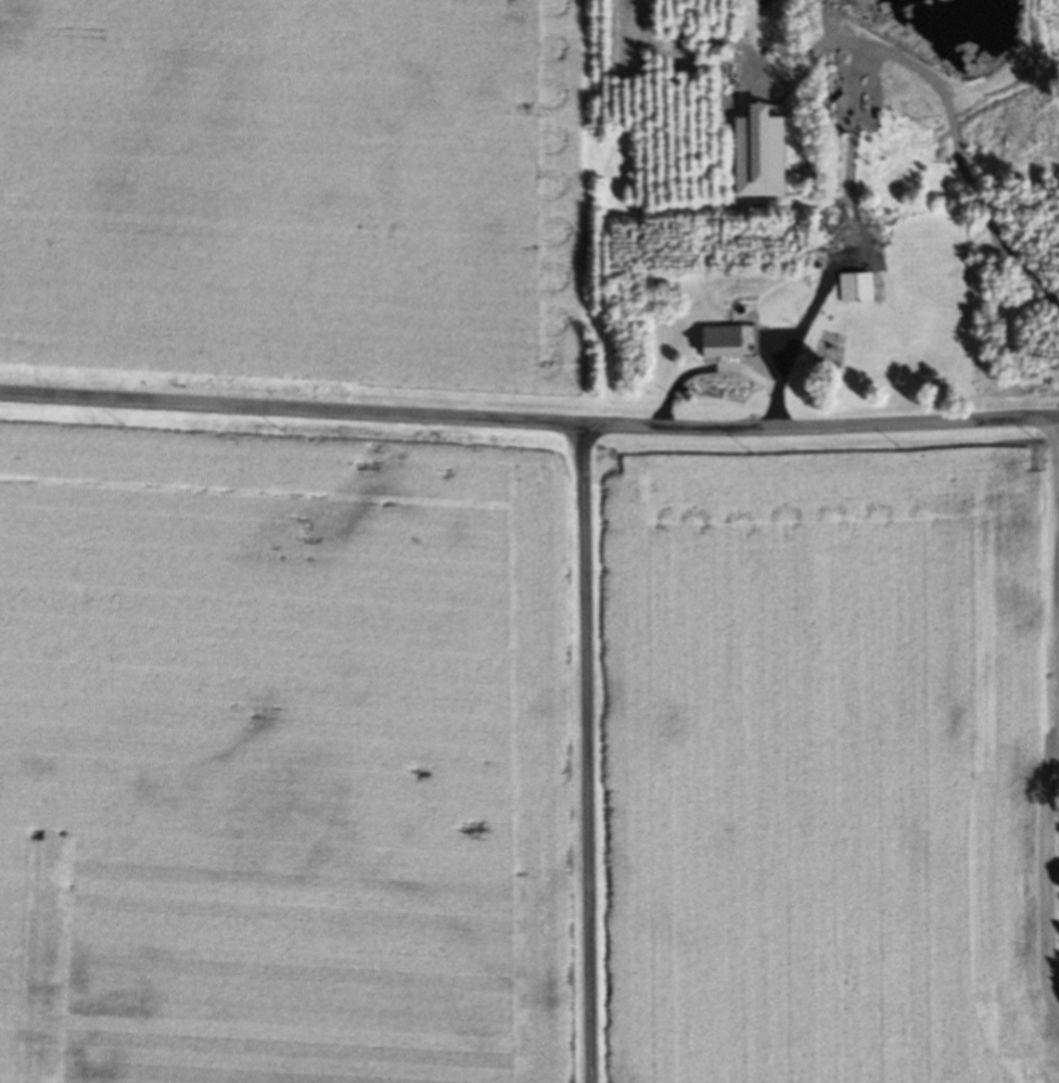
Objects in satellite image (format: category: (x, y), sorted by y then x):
road: (965, 174)
building: (852, 290)
road: (796, 340)
building: (712, 345)
road: (702, 372)
road: (528, 422)
road: (1057, 590)
road: (588, 754)

